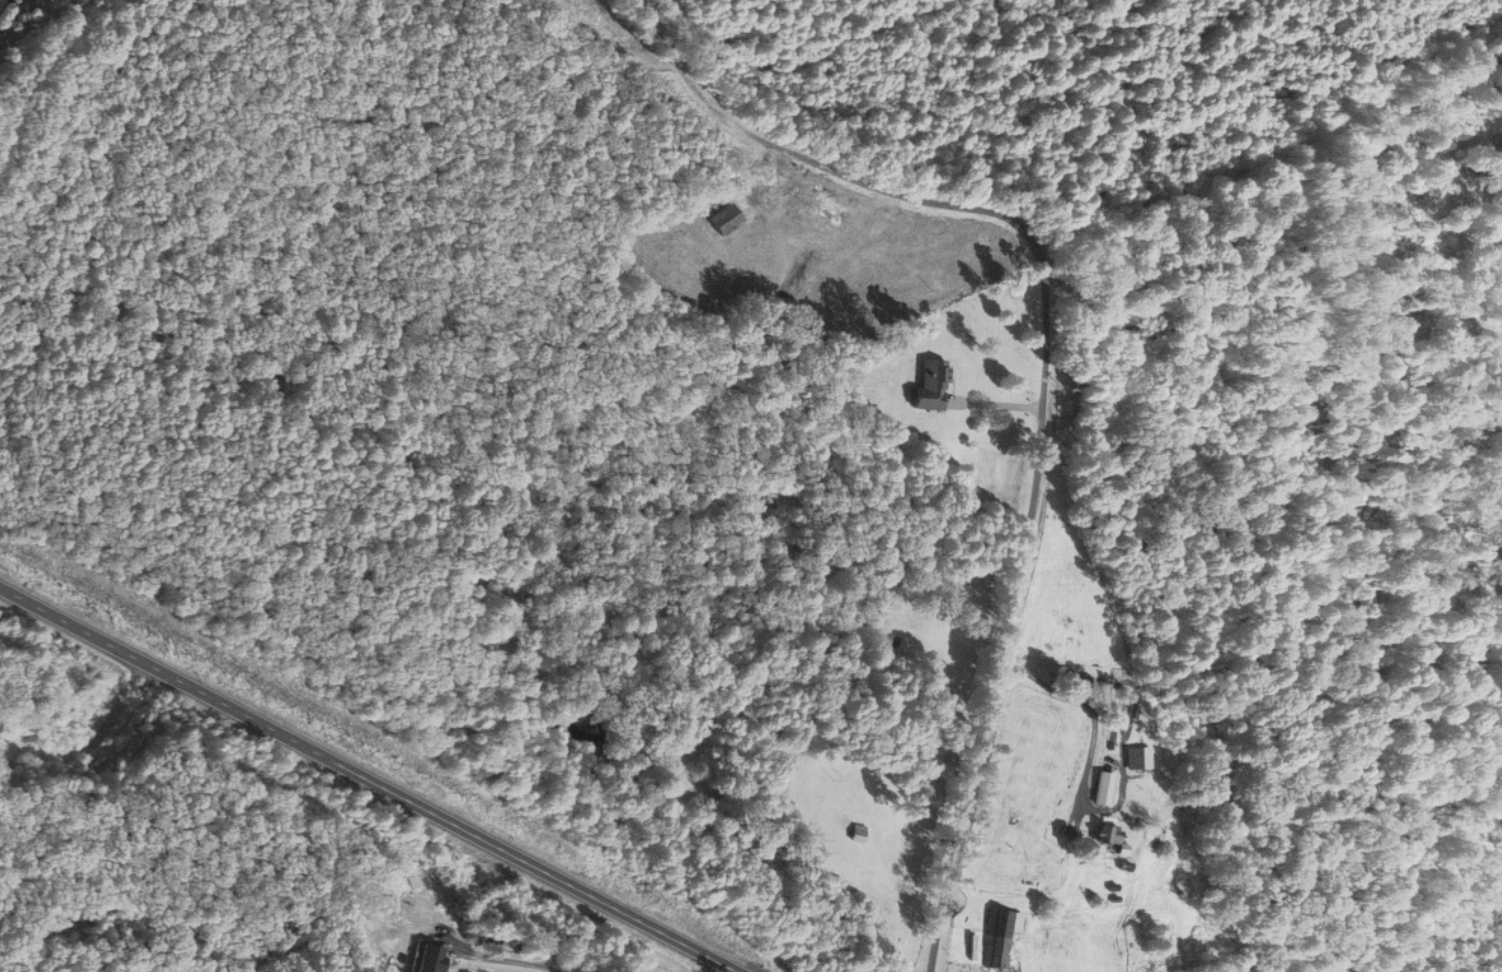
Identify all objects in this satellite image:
building: (724, 218)
road: (1043, 369)
building: (931, 385)
building: (1068, 677)
road: (370, 779)
building: (1105, 788)
building: (1108, 832)
building: (859, 833)
building: (1000, 937)
building: (433, 958)

